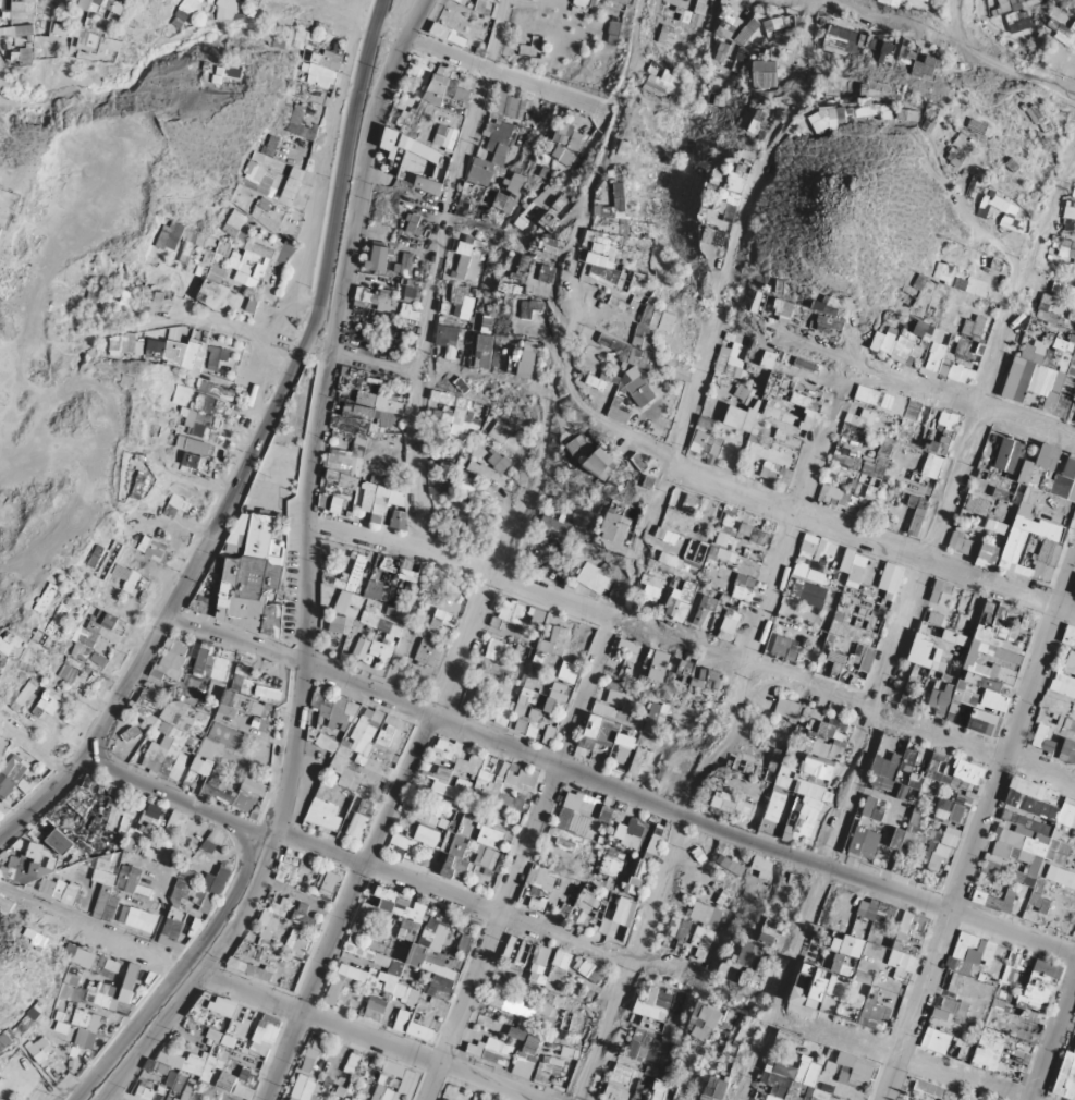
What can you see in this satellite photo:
road: (418, 16)
road: (378, 26)

